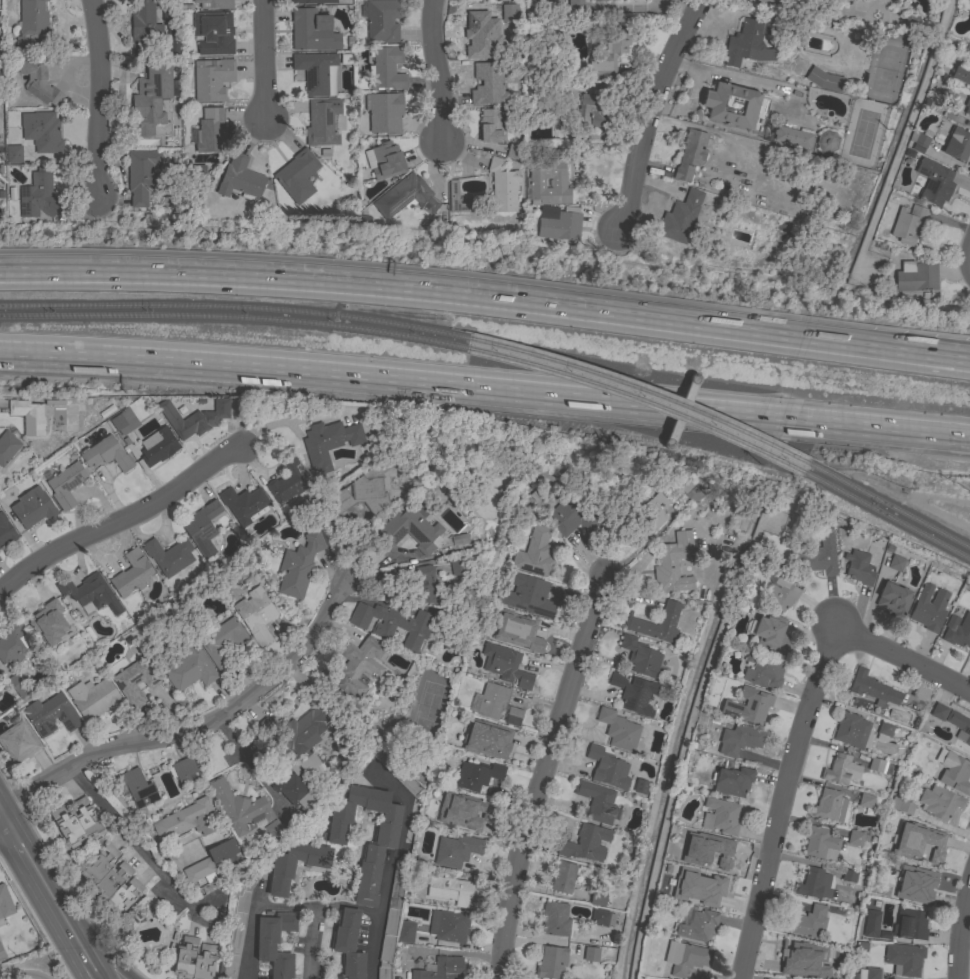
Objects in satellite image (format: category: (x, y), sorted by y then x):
building: (472, 0)
building: (602, 0)
building: (311, 1)
building: (214, 4)
building: (575, 7)
building: (510, 12)
building: (167, 13)
building: (382, 20)
building: (32, 25)
building: (143, 27)
building: (312, 31)
building: (213, 33)
building: (477, 33)
building: (172, 41)
building: (752, 43)
building: (609, 53)
road: (263, 61)
building: (386, 69)
road: (438, 71)
building: (317, 72)
building: (961, 73)
building: (212, 79)
building: (37, 80)
building: (824, 80)
building: (488, 84)
road: (96, 97)
building: (152, 97)
road: (916, 101)
building: (731, 105)
building: (967, 106)
building: (594, 111)
road: (650, 111)
building: (384, 113)
building: (557, 115)
building: (321, 122)
building: (967, 124)
building: (490, 126)
building: (42, 132)
building: (211, 132)
building: (793, 136)
building: (918, 141)
building: (826, 142)
building: (957, 144)
building: (514, 152)
building: (13, 154)
building: (691, 154)
building: (387, 161)
building: (193, 172)
building: (141, 175)
building: (297, 176)
building: (240, 179)
building: (934, 181)
building: (535, 183)
building: (502, 187)
building: (38, 197)
building: (405, 197)
building: (455, 198)
building: (680, 217)
building: (907, 224)
building: (561, 225)
road: (966, 256)
building: (916, 276)
road: (378, 285)
railway: (235, 308)
railway: (234, 318)
road: (862, 344)
road: (861, 351)
road: (485, 388)
railway: (641, 390)
railway: (638, 402)
building: (28, 416)
building: (193, 417)
building: (124, 422)
building: (328, 443)
building: (7, 446)
building: (156, 447)
building: (107, 454)
building: (286, 481)
building: (66, 484)
building: (691, 491)
building: (365, 493)
railway: (888, 504)
building: (243, 505)
building: (32, 507)
railway: (887, 515)
building: (569, 517)
road: (121, 519)
building: (644, 519)
building: (411, 527)
building: (203, 529)
building: (5, 531)
building: (459, 539)
building: (534, 553)
building: (168, 556)
building: (816, 557)
building: (300, 563)
building: (895, 563)
building: (673, 564)
building: (458, 567)
building: (858, 567)
building: (131, 574)
building: (413, 582)
building: (779, 590)
building: (90, 593)
building: (527, 595)
building: (893, 599)
building: (928, 608)
building: (256, 615)
building: (48, 622)
building: (657, 623)
building: (392, 624)
building: (957, 631)
building: (523, 635)
building: (773, 635)
building: (223, 642)
building: (13, 644)
building: (640, 656)
road: (902, 660)
building: (505, 665)
building: (187, 666)
building: (357, 666)
building: (762, 670)
building: (136, 680)
building: (18, 685)
building: (872, 689)
building: (633, 693)
building: (0, 696)
building: (93, 698)
building: (497, 704)
building: (748, 706)
building: (938, 712)
building: (50, 715)
road: (199, 723)
building: (308, 726)
building: (959, 726)
building: (618, 730)
building: (851, 730)
building: (884, 730)
building: (738, 740)
building: (18, 741)
building: (490, 745)
road: (247, 765)
building: (877, 765)
building: (607, 768)
building: (183, 770)
building: (840, 770)
building: (396, 771)
building: (953, 771)
road: (542, 774)
building: (477, 776)
building: (732, 781)
building: (299, 783)
building: (640, 786)
building: (134, 787)
building: (437, 791)
road: (779, 800)
building: (596, 801)
building: (865, 801)
building: (939, 802)
building: (238, 806)
building: (829, 806)
building: (901, 806)
road: (4, 815)
building: (720, 816)
building: (475, 817)
building: (187, 820)
building: (76, 822)
building: (273, 829)
building: (856, 838)
building: (917, 841)
road: (132, 843)
building: (585, 843)
building: (820, 844)
building: (379, 847)
building: (456, 850)
building: (222, 851)
building: (716, 853)
road: (15, 864)
road: (44, 871)
building: (198, 871)
building: (281, 874)
building: (562, 876)
building: (851, 876)
building: (111, 880)
building: (814, 884)
building: (917, 885)
building: (709, 889)
building: (450, 890)
road: (383, 896)
building: (597, 897)
building: (5, 903)
road: (254, 909)
building: (391, 918)
building: (601, 918)
building: (556, 920)
building: (806, 922)
building: (870, 924)
building: (910, 925)
building: (448, 926)
building: (698, 926)
road: (957, 926)
building: (236, 930)
building: (405, 932)
road: (56, 935)
building: (275, 943)
building: (348, 944)
road: (373, 945)
building: (590, 954)
building: (1, 955)
building: (796, 955)
building: (685, 958)
building: (193, 959)
building: (903, 959)
road: (112, 961)
building: (551, 962)
road: (98, 963)
building: (441, 969)
road: (20, 971)
building: (868, 973)

